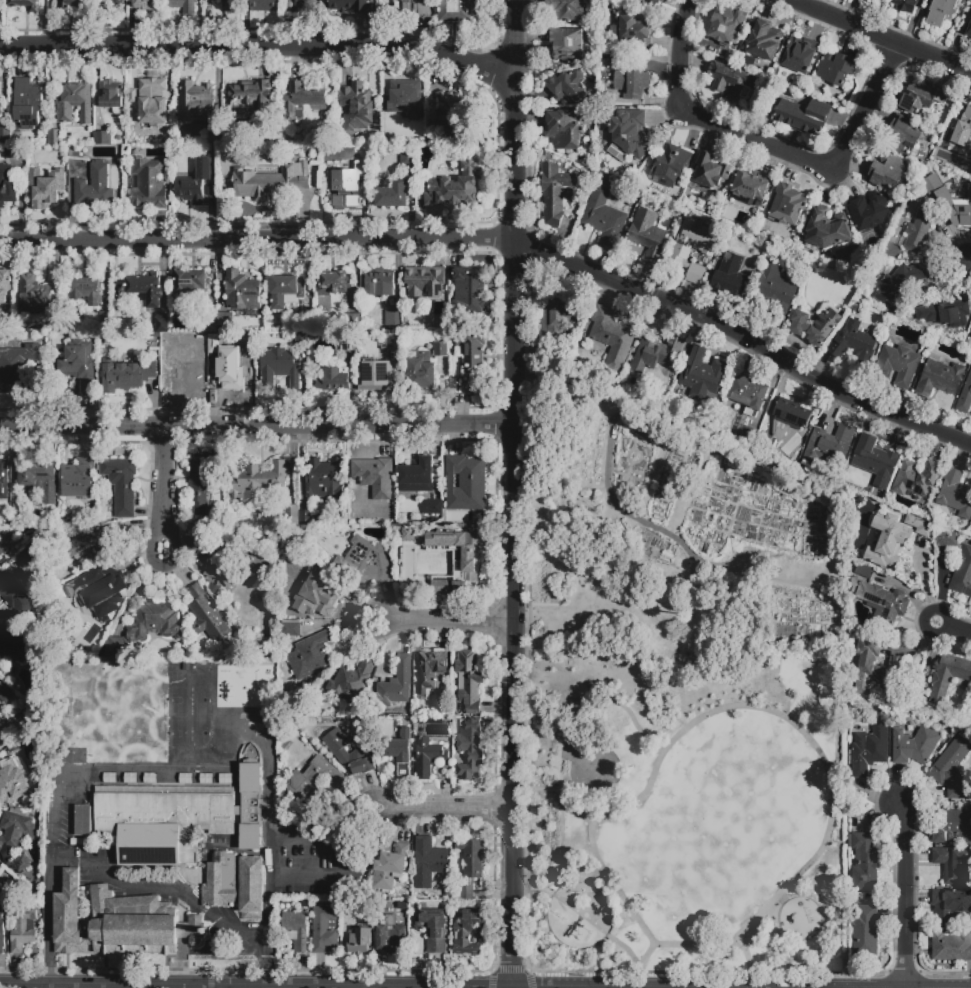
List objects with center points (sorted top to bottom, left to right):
building: (655, 1)
building: (115, 2)
building: (27, 4)
building: (75, 5)
building: (147, 5)
building: (182, 5)
building: (305, 5)
building: (905, 5)
building: (230, 6)
building: (264, 6)
building: (352, 6)
building: (567, 8)
building: (415, 9)
building: (458, 10)
building: (942, 11)
building: (727, 24)
building: (967, 26)
building: (633, 31)
road: (877, 35)
building: (764, 40)
building: (567, 44)
road: (261, 51)
building: (800, 54)
building: (604, 63)
building: (835, 68)
building: (632, 80)
building: (729, 82)
building: (567, 87)
building: (111, 94)
building: (132, 95)
building: (253, 97)
building: (403, 97)
building: (0, 98)
building: (920, 98)
building: (195, 99)
building: (302, 99)
building: (607, 99)
building: (74, 101)
building: (152, 101)
building: (27, 103)
building: (356, 106)
building: (803, 116)
building: (454, 118)
building: (564, 128)
building: (963, 128)
building: (630, 132)
building: (216, 133)
building: (903, 135)
building: (102, 136)
building: (5, 138)
building: (55, 139)
road: (770, 145)
building: (12, 153)
building: (407, 156)
building: (670, 165)
building: (887, 171)
building: (710, 172)
building: (269, 181)
building: (149, 183)
building: (193, 183)
building: (7, 185)
building: (44, 187)
building: (456, 187)
building: (94, 188)
building: (345, 189)
building: (751, 189)
building: (555, 193)
building: (392, 195)
building: (954, 200)
building: (787, 205)
building: (868, 211)
building: (604, 216)
building: (826, 228)
building: (918, 233)
building: (648, 234)
road: (505, 247)
building: (681, 252)
road: (968, 264)
building: (731, 276)
building: (424, 281)
building: (192, 282)
building: (333, 283)
building: (379, 283)
building: (4, 284)
building: (899, 285)
building: (146, 288)
building: (286, 290)
building: (468, 290)
building: (85, 291)
building: (241, 291)
building: (776, 291)
building: (33, 294)
building: (393, 313)
building: (945, 313)
building: (555, 316)
building: (105, 318)
building: (54, 321)
building: (225, 321)
building: (305, 323)
building: (355, 323)
building: (816, 325)
building: (160, 326)
building: (970, 337)
building: (613, 338)
building: (302, 341)
building: (347, 343)
building: (854, 345)
building: (440, 349)
building: (655, 354)
building: (470, 360)
building: (561, 362)
building: (79, 364)
building: (897, 365)
building: (280, 367)
building: (380, 367)
building: (19, 369)
building: (232, 370)
building: (423, 371)
building: (125, 374)
building: (703, 375)
building: (187, 378)
building: (939, 378)
building: (334, 380)
building: (748, 394)
building: (965, 396)
building: (782, 424)
road: (258, 426)
building: (748, 437)
building: (828, 445)
building: (874, 461)
building: (417, 475)
building: (373, 477)
building: (79, 478)
building: (916, 478)
building: (40, 479)
building: (256, 482)
building: (323, 482)
building: (465, 483)
building: (121, 484)
building: (4, 490)
road: (163, 490)
building: (203, 491)
road: (516, 493)
building: (955, 494)
building: (434, 510)
building: (17, 513)
building: (291, 514)
building: (306, 518)
road: (637, 520)
building: (919, 525)
building: (408, 534)
building: (946, 538)
building: (886, 543)
building: (91, 544)
building: (2, 549)
building: (471, 559)
building: (365, 563)
building: (218, 566)
building: (862, 572)
building: (962, 574)
building: (264, 578)
road: (568, 580)
building: (310, 590)
building: (93, 593)
building: (16, 596)
building: (882, 604)
street lamp: (913, 607)
building: (206, 616)
building: (111, 621)
road: (445, 624)
building: (146, 627)
building: (290, 628)
road: (953, 628)
building: (32, 634)
building: (12, 651)
building: (310, 655)
building: (429, 669)
building: (878, 672)
building: (948, 674)
building: (469, 682)
building: (352, 684)
building: (395, 685)
road: (601, 691)
building: (4, 694)
building: (929, 711)
building: (969, 719)
building: (0, 738)
building: (913, 745)
building: (468, 748)
building: (868, 750)
building: (346, 753)
building: (397, 753)
building: (427, 757)
building: (951, 770)
building: (109, 778)
building: (130, 778)
building: (149, 778)
building: (185, 778)
building: (12, 779)
building: (206, 779)
building: (225, 779)
building: (314, 780)
park: (674, 782)
road: (567, 786)
road: (546, 791)
road: (437, 810)
road: (577, 814)
building: (177, 819)
building: (82, 821)
building: (952, 826)
building: (13, 839)
road: (556, 851)
building: (471, 858)
building: (429, 861)
building: (865, 862)
building: (954, 865)
building: (0, 867)
building: (391, 867)
road: (590, 880)
building: (237, 888)
road: (167, 890)
building: (466, 893)
road: (587, 896)
road: (904, 896)
road: (782, 897)
building: (950, 906)
building: (353, 912)
road: (581, 915)
building: (68, 917)
building: (138, 924)
road: (642, 928)
building: (324, 929)
building: (295, 930)
building: (1, 931)
building: (22, 931)
building: (434, 931)
building: (865, 931)
building: (468, 934)
building: (390, 936)
road: (46, 937)
road: (761, 938)
building: (361, 939)
building: (951, 946)
road: (189, 951)
road: (748, 963)
road: (639, 964)
road: (90, 987)

